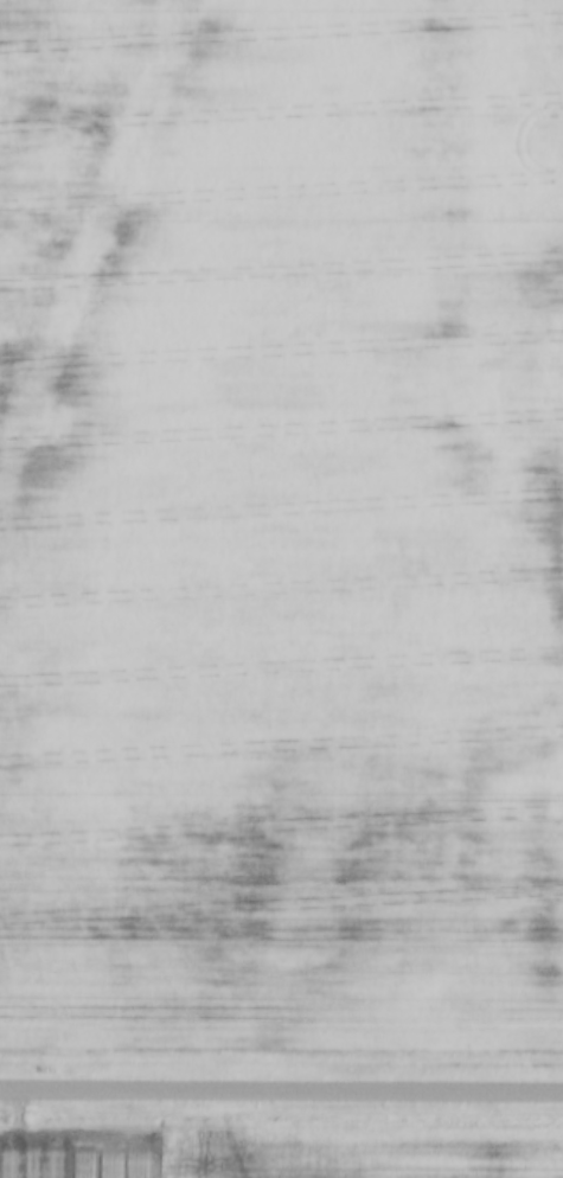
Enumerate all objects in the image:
road: (281, 1095)

